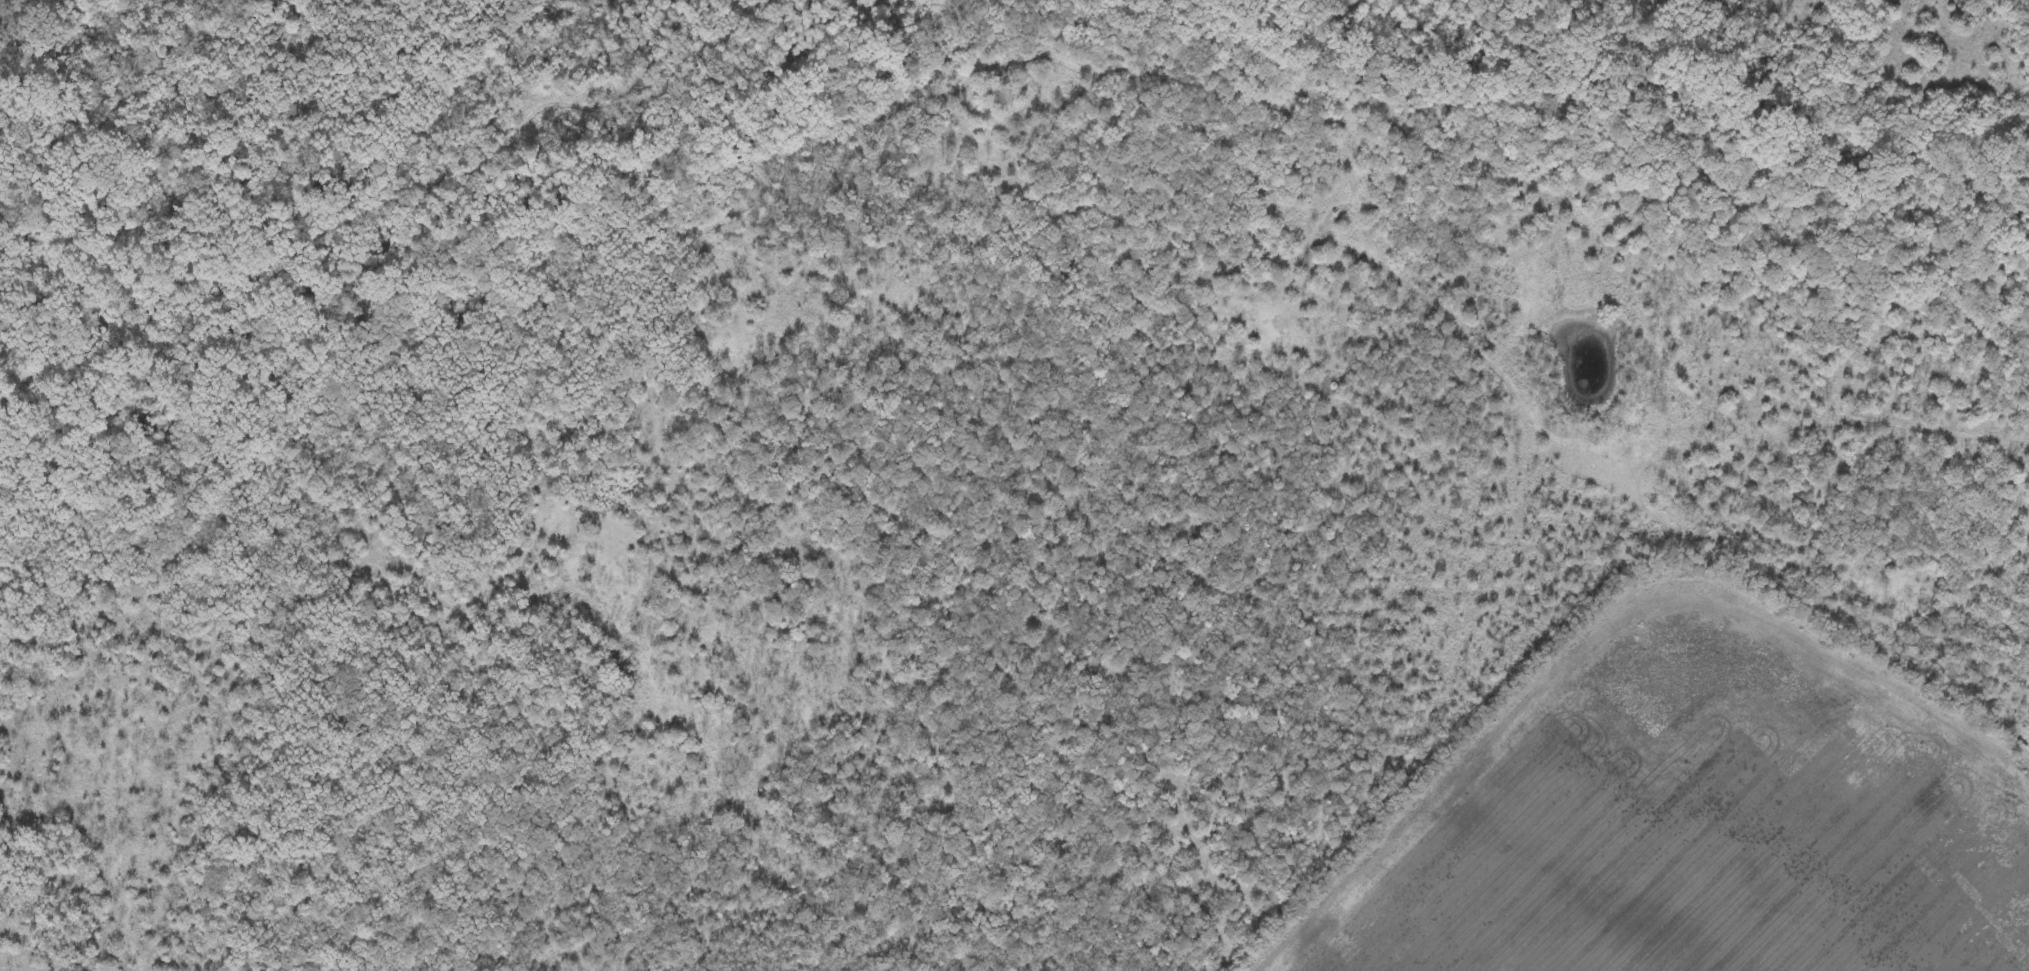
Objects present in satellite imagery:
crop: (1695, 814)

